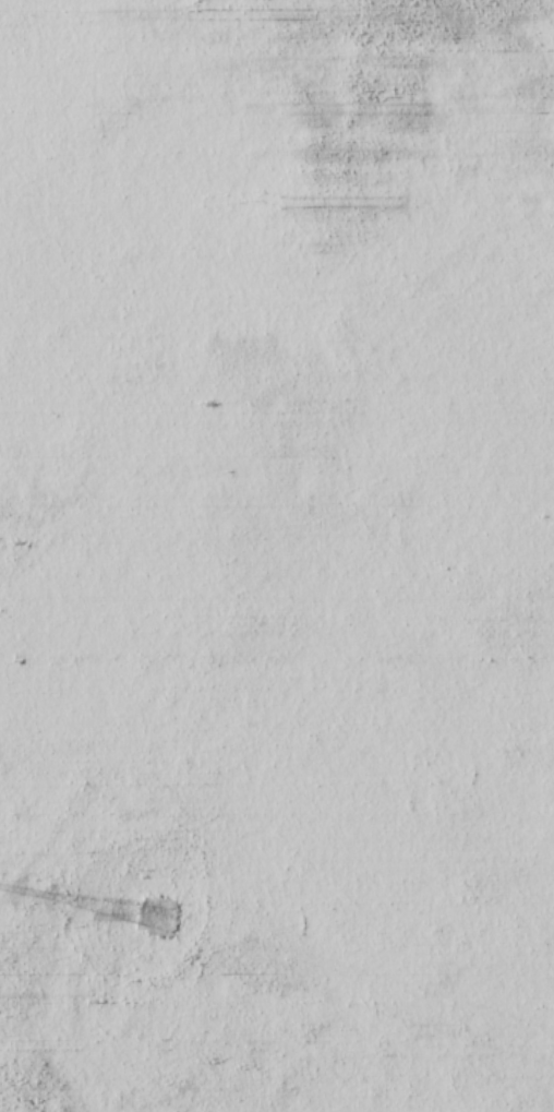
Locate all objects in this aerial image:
power tower: (158, 914)

